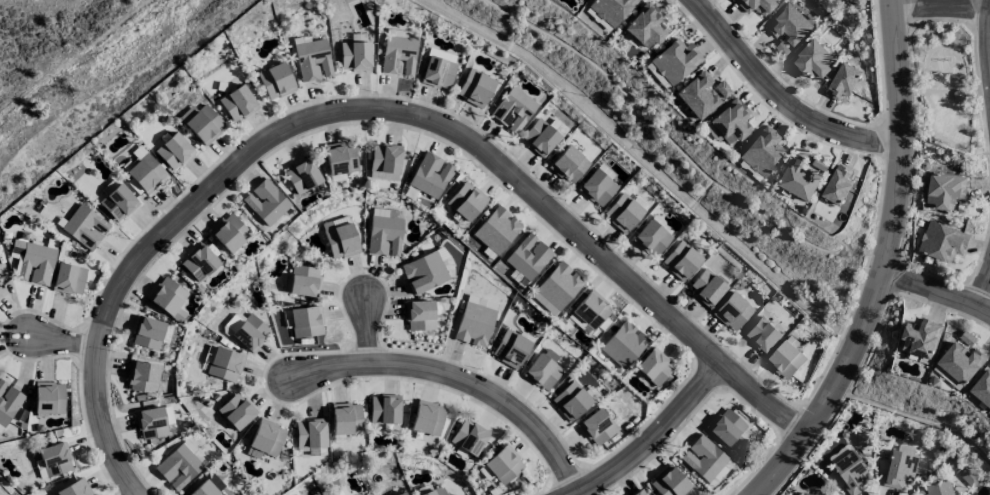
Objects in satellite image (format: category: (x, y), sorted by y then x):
building: (754, 5)
road: (942, 5)
building: (608, 11)
building: (788, 25)
building: (645, 26)
building: (401, 33)
building: (780, 48)
road: (930, 51)
building: (355, 56)
building: (398, 56)
building: (312, 60)
building: (812, 60)
building: (675, 61)
building: (438, 72)
building: (275, 81)
building: (843, 81)
park: (946, 86)
building: (475, 88)
road: (936, 91)
building: (959, 94)
road: (781, 97)
road: (951, 100)
building: (237, 103)
road: (377, 109)
building: (513, 110)
building: (202, 123)
building: (728, 123)
building: (539, 137)
road: (949, 141)
building: (174, 151)
building: (762, 151)
building: (385, 158)
building: (340, 159)
building: (568, 164)
building: (820, 164)
building: (146, 173)
building: (429, 175)
building: (302, 176)
building: (800, 178)
building: (838, 185)
building: (597, 187)
building: (945, 190)
building: (466, 201)
building: (117, 202)
building: (265, 202)
building: (622, 213)
building: (85, 227)
building: (496, 230)
building: (385, 232)
building: (228, 233)
building: (652, 238)
building: (341, 241)
building: (943, 242)
building: (527, 257)
building: (681, 261)
building: (32, 262)
building: (199, 262)
road: (884, 263)
building: (426, 270)
building: (68, 279)
building: (303, 281)
building: (558, 285)
building: (706, 287)
road: (936, 288)
road: (984, 289)
building: (2, 291)
building: (166, 295)
building: (481, 302)
building: (592, 311)
building: (732, 311)
building: (419, 315)
building: (306, 321)
building: (474, 324)
road: (367, 326)
building: (147, 333)
building: (250, 333)
building: (762, 335)
building: (967, 338)
road: (63, 339)
building: (920, 339)
building: (623, 344)
building: (510, 349)
building: (786, 360)
building: (961, 362)
building: (224, 365)
building: (653, 367)
building: (543, 369)
road: (458, 376)
building: (142, 377)
building: (983, 388)
building: (48, 398)
building: (570, 401)
building: (8, 402)
building: (383, 409)
building: (236, 411)
building: (427, 418)
building: (345, 419)
building: (169, 420)
building: (150, 423)
building: (725, 426)
building: (596, 427)
building: (310, 433)
building: (468, 437)
road: (653, 438)
building: (265, 439)
building: (864, 440)
building: (702, 458)
building: (52, 461)
building: (503, 464)
building: (180, 465)
building: (900, 469)
building: (719, 473)
building: (853, 473)
building: (969, 476)
building: (668, 482)
building: (74, 488)
building: (204, 489)
building: (937, 489)
building: (434, 492)
building: (640, 492)
building: (402, 494)
building: (806, 494)

